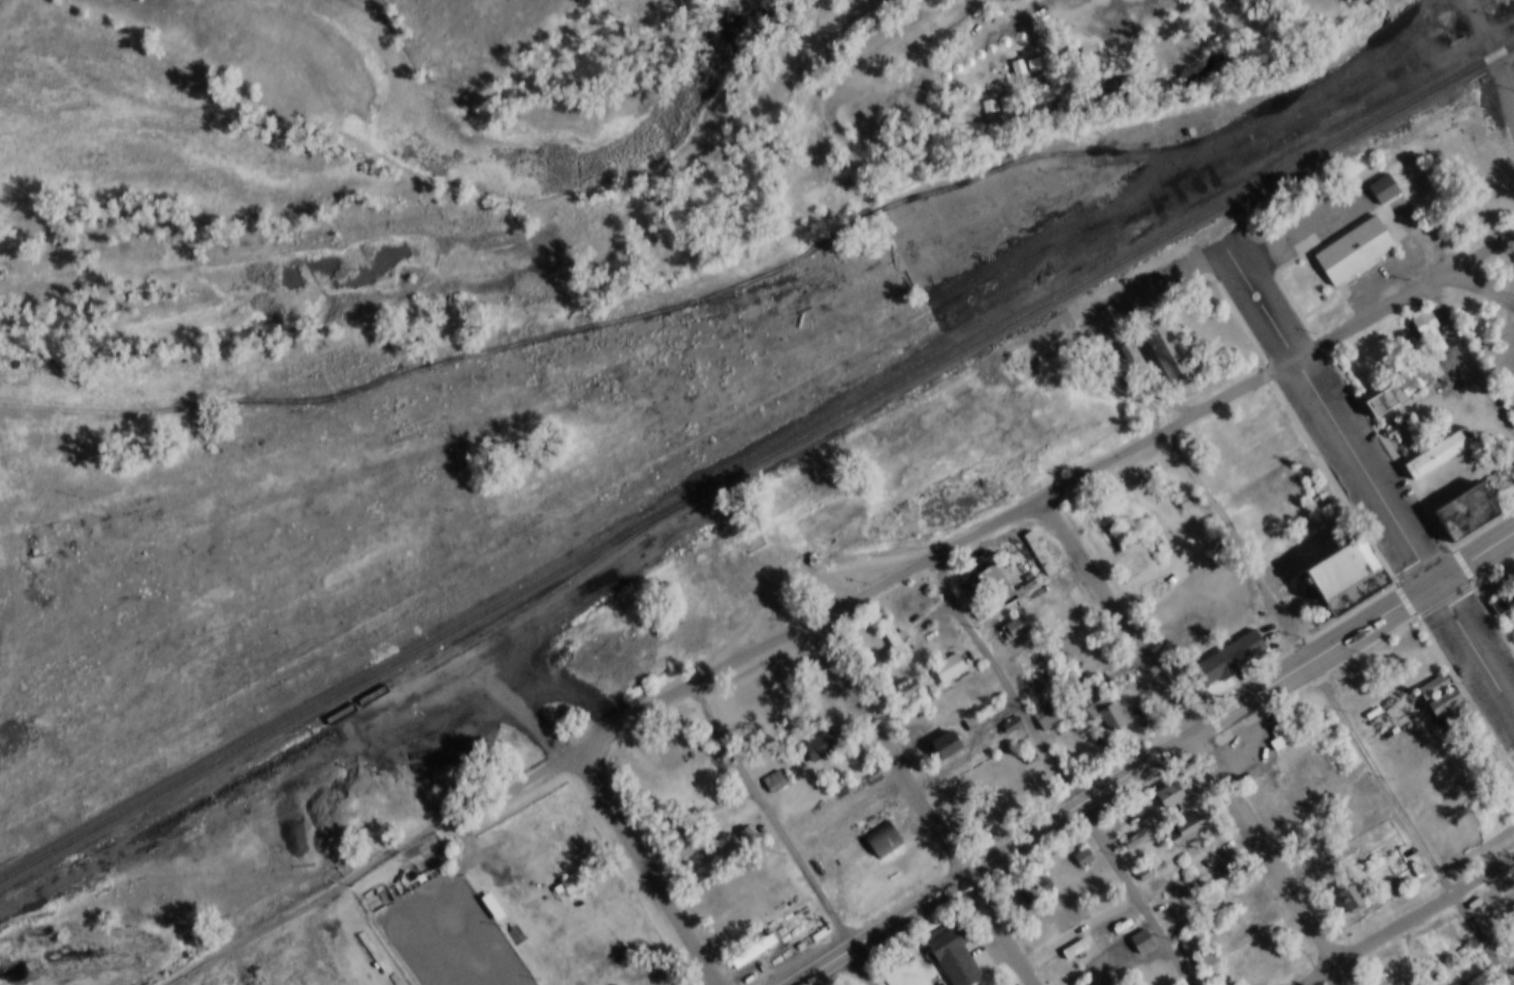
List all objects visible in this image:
road: (1464, 10)
building: (1070, 49)
building: (1146, 52)
road: (1496, 67)
building: (1120, 69)
building: (1107, 72)
building: (1094, 77)
road: (849, 80)
building: (1180, 120)
building: (1377, 175)
building: (1383, 191)
building: (1345, 237)
road: (1175, 279)
road: (1482, 289)
building: (1422, 319)
building: (1513, 329)
building: (1158, 340)
building: (1502, 359)
building: (1391, 378)
building: (1507, 381)
road: (1336, 414)
building: (1389, 416)
building: (1432, 440)
building: (1438, 453)
railway: (757, 461)
building: (1174, 485)
road: (1048, 497)
building: (1456, 498)
road: (1125, 502)
building: (1329, 556)
building: (987, 571)
building: (1008, 614)
building: (888, 627)
building: (1014, 628)
building: (1192, 633)
road: (1477, 640)
building: (1221, 645)
building: (942, 654)
road: (993, 659)
building: (1227, 659)
building: (948, 669)
building: (1428, 672)
building: (902, 675)
building: (1437, 688)
building: (908, 690)
building: (1099, 700)
building: (1041, 702)
building: (1447, 704)
building: (1006, 712)
building: (1106, 715)
building: (1047, 718)
building: (1277, 721)
building: (1094, 724)
building: (693, 725)
building: (1011, 727)
building: (937, 731)
building: (814, 733)
building: (1284, 735)
road: (1196, 742)
building: (945, 746)
building: (1026, 746)
building: (1076, 746)
building: (820, 747)
road: (972, 749)
road: (1152, 758)
building: (768, 766)
building: (1164, 780)
building: (774, 782)
building: (1170, 795)
road: (926, 804)
building: (675, 812)
building: (1181, 815)
building: (757, 816)
building: (683, 824)
building: (877, 825)
building: (1127, 827)
building: (1187, 829)
road: (784, 835)
building: (883, 842)
building: (1079, 845)
building: (1338, 847)
building: (1083, 859)
building: (1139, 860)
storage tank: (889, 862)
building: (1345, 863)
building: (412, 865)
road: (373, 866)
road: (646, 867)
building: (567, 870)
building: (1212, 871)
building: (1392, 873)
building: (1028, 876)
building: (574, 883)
building: (1218, 884)
building: (1344, 885)
building: (1036, 889)
building: (487, 893)
building: (1350, 900)
building: (491, 908)
road: (1407, 918)
building: (1187, 926)
building: (1136, 928)
park: (449, 929)
building: (1070, 936)
building: (368, 938)
road: (1478, 938)
building: (745, 941)
building: (949, 943)
building: (1141, 943)
building: (1189, 944)
building: (1201, 945)
building: (1075, 951)
building: (374, 952)
building: (748, 952)
building: (1206, 961)
building: (1104, 967)
building: (966, 968)
building: (1473, 969)
building: (1428, 982)

